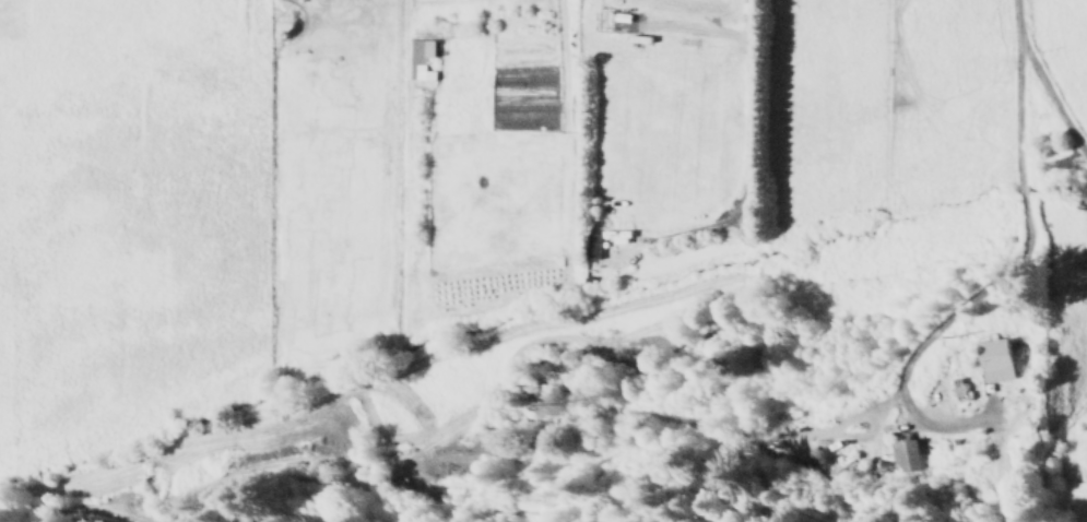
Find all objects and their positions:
building: (420, 60)
road: (1016, 90)
road: (1051, 107)
road: (749, 171)
road: (1017, 190)
building: (591, 246)
road: (932, 333)
building: (995, 361)
building: (958, 389)
building: (901, 455)

